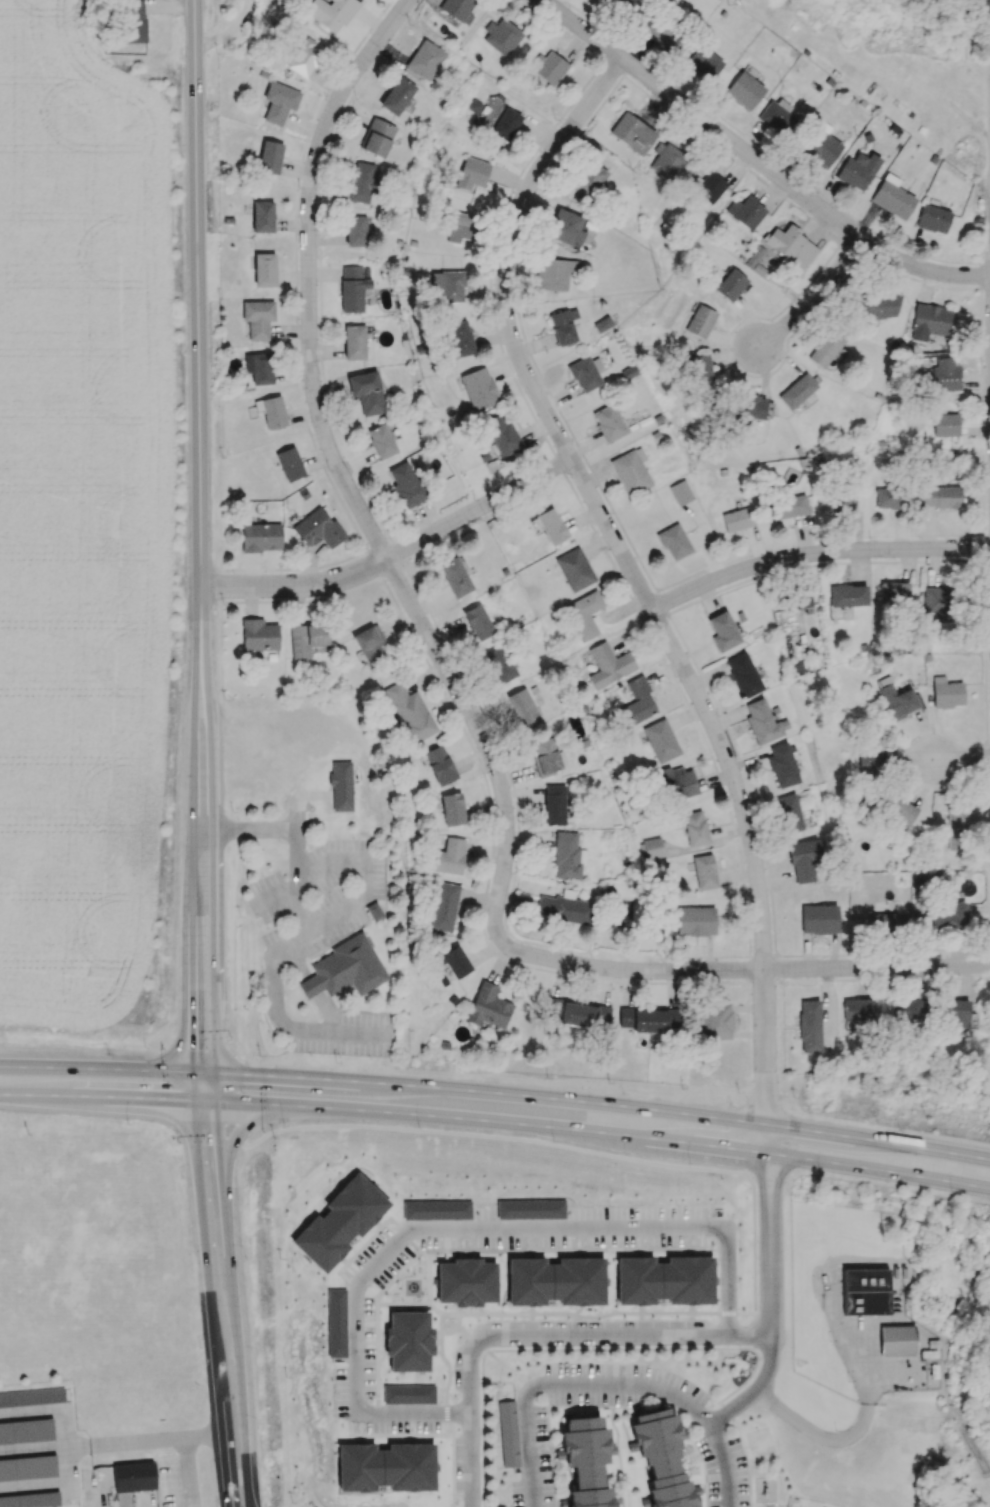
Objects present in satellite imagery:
power tower: (739, 3)
building: (629, 6)
building: (458, 9)
building: (330, 12)
building: (134, 21)
building: (501, 36)
building: (304, 57)
building: (424, 59)
building: (704, 62)
building: (550, 67)
building: (744, 90)
building: (397, 96)
building: (279, 101)
building: (777, 116)
building: (506, 124)
building: (632, 133)
building: (377, 137)
building: (823, 147)
building: (269, 157)
building: (667, 160)
road: (756, 160)
building: (858, 170)
building: (471, 173)
building: (589, 180)
building: (362, 182)
building: (710, 187)
building: (892, 197)
building: (746, 211)
building: (262, 216)
building: (933, 218)
building: (460, 226)
building: (564, 227)
building: (356, 230)
building: (791, 245)
building: (264, 269)
building: (554, 273)
building: (730, 284)
building: (447, 286)
building: (354, 287)
road: (815, 297)
building: (878, 305)
building: (258, 318)
building: (700, 321)
building: (929, 321)
building: (563, 325)
road: (311, 328)
building: (459, 338)
building: (354, 342)
road: (198, 344)
building: (826, 346)
building: (259, 367)
building: (700, 369)
building: (585, 373)
building: (944, 374)
building: (478, 388)
building: (796, 391)
building: (367, 392)
building: (749, 407)
building: (271, 411)
building: (608, 422)
building: (945, 423)
building: (502, 433)
building: (381, 440)
building: (290, 463)
building: (630, 471)
building: (405, 484)
building: (941, 496)
building: (891, 497)
building: (840, 499)
building: (789, 506)
building: (737, 519)
building: (551, 526)
building: (317, 529)
building: (261, 536)
building: (674, 541)
road: (396, 557)
road: (816, 557)
building: (574, 569)
building: (455, 577)
building: (894, 592)
building: (848, 595)
building: (934, 600)
building: (801, 601)
building: (584, 614)
building: (478, 621)
building: (723, 631)
building: (258, 634)
building: (306, 639)
building: (367, 643)
building: (500, 664)
building: (608, 664)
road: (682, 664)
building: (743, 674)
building: (947, 692)
building: (638, 701)
building: (897, 701)
building: (522, 706)
building: (409, 712)
building: (763, 721)
building: (661, 740)
road: (708, 754)
building: (546, 755)
building: (876, 758)
road: (959, 759)
building: (439, 764)
building: (782, 765)
building: (679, 781)
building: (341, 785)
building: (554, 804)
building: (451, 809)
building: (899, 811)
building: (789, 812)
building: (695, 827)
building: (956, 829)
building: (651, 848)
building: (449, 856)
building: (568, 856)
building: (803, 859)
building: (702, 871)
building: (945, 879)
building: (918, 884)
road: (191, 893)
road: (215, 894)
parking lot: (315, 899)
building: (444, 906)
building: (565, 907)
building: (374, 911)
building: (950, 916)
building: (818, 918)
building: (889, 919)
building: (695, 921)
road: (295, 947)
road: (540, 958)
building: (455, 961)
building: (350, 966)
road: (939, 967)
building: (488, 1006)
building: (905, 1008)
building: (857, 1009)
building: (960, 1013)
building: (644, 1019)
building: (717, 1022)
building: (809, 1026)
parking lot: (346, 1033)
road: (95, 1069)
traffic signals: (190, 1072)
traffic signals: (215, 1073)
road: (479, 1092)
road: (95, 1097)
traffic signals: (191, 1100)
traffic signals: (215, 1101)
road: (480, 1120)
road: (249, 1124)
road: (878, 1141)
road: (879, 1169)
building: (437, 1209)
building: (531, 1209)
building: (340, 1222)
road: (460, 1226)
building: (664, 1280)
building: (555, 1281)
building: (466, 1282)
building: (867, 1292)
road: (211, 1303)
road: (232, 1303)
road: (754, 1305)
building: (336, 1322)
road: (629, 1333)
building: (408, 1341)
building: (900, 1341)
road: (755, 1386)
road: (601, 1388)
building: (408, 1393)
building: (32, 1398)
road: (47, 1410)
road: (469, 1417)
building: (26, 1431)
building: (508, 1433)
road: (845, 1435)
road: (715, 1440)
road: (124, 1442)
road: (528, 1446)
road: (32, 1449)
road: (184, 1450)
building: (660, 1459)
building: (585, 1461)
building: (385, 1467)
building: (28, 1468)
building: (133, 1476)
road: (49, 1483)
building: (31, 1499)

